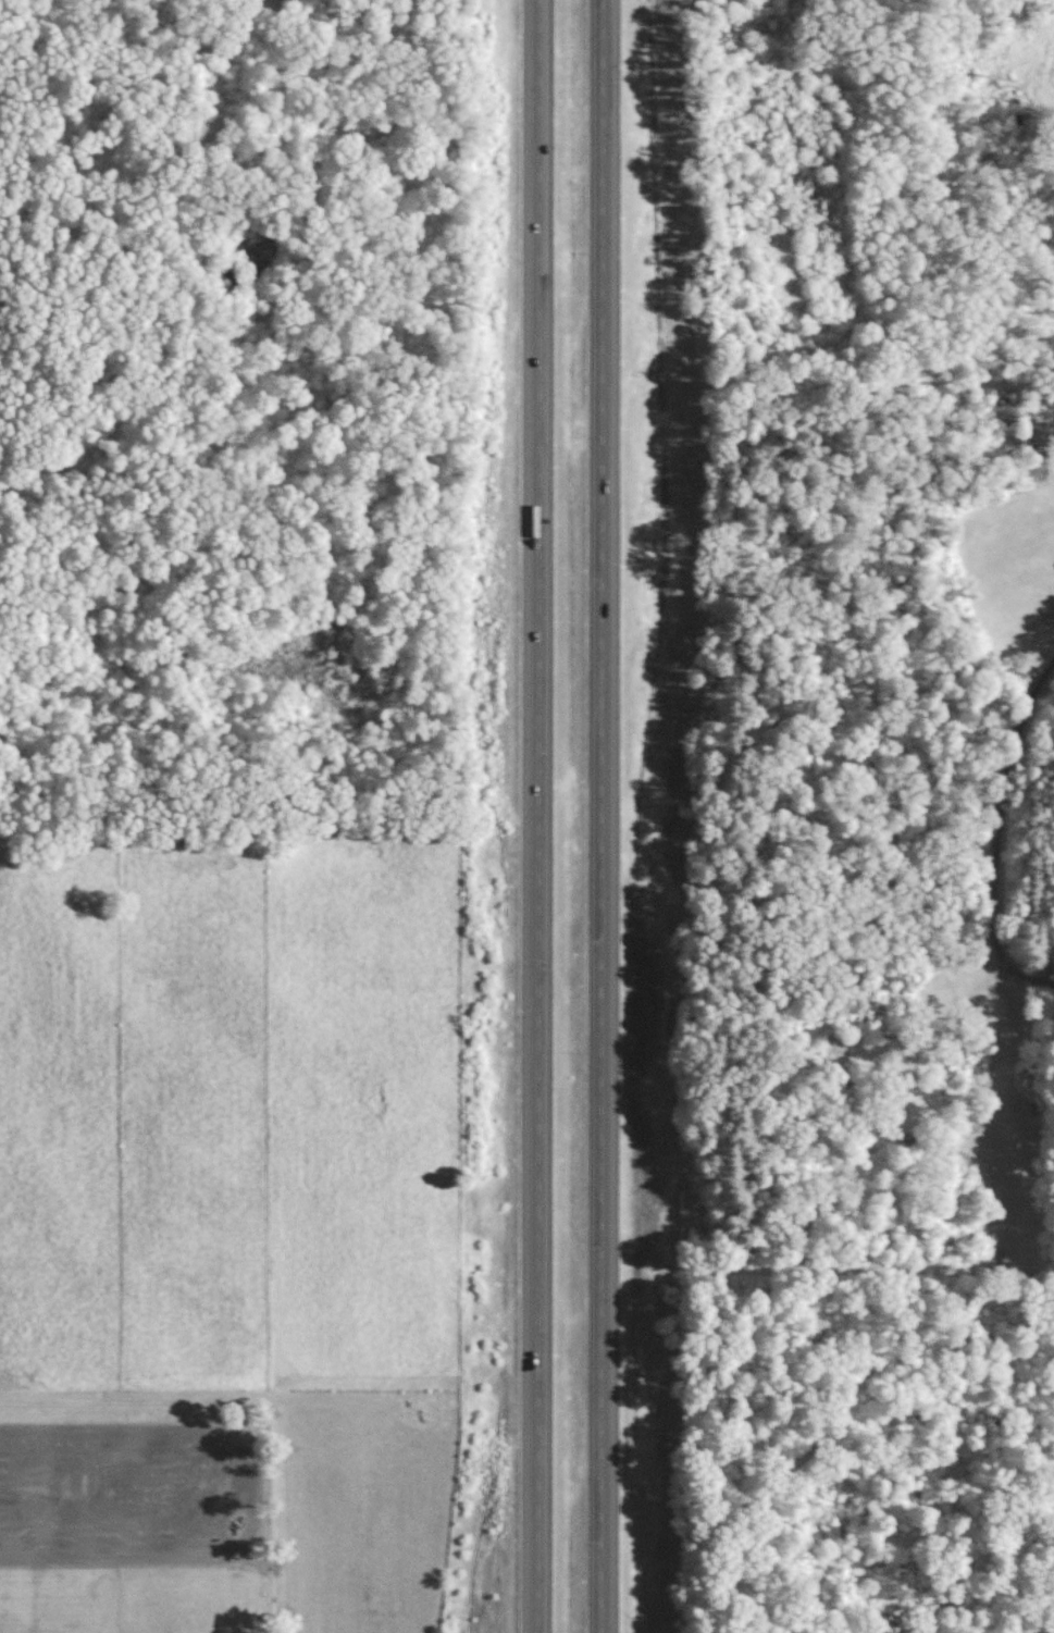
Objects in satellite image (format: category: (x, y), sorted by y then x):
road: (538, 816)
road: (602, 816)
road: (1003, 820)

